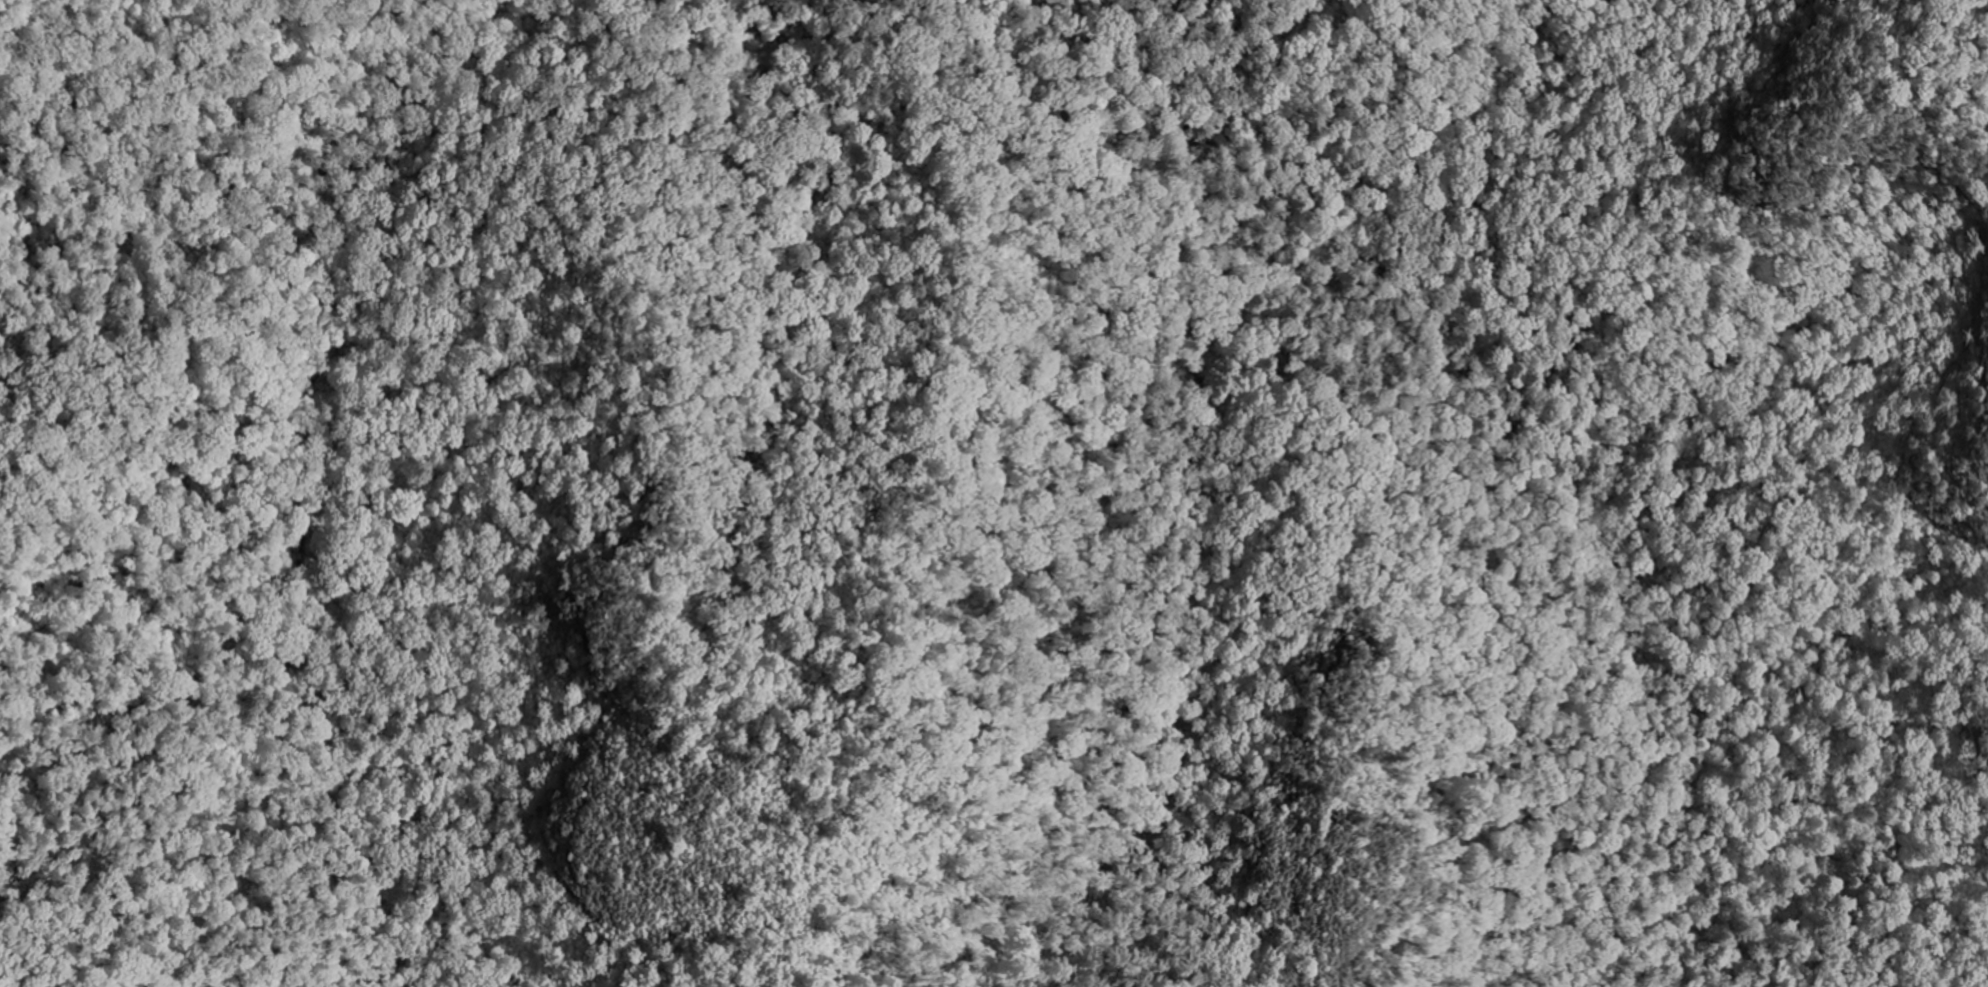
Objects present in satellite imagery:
road: (1571, 487)
road: (1658, 840)
road: (810, 886)

